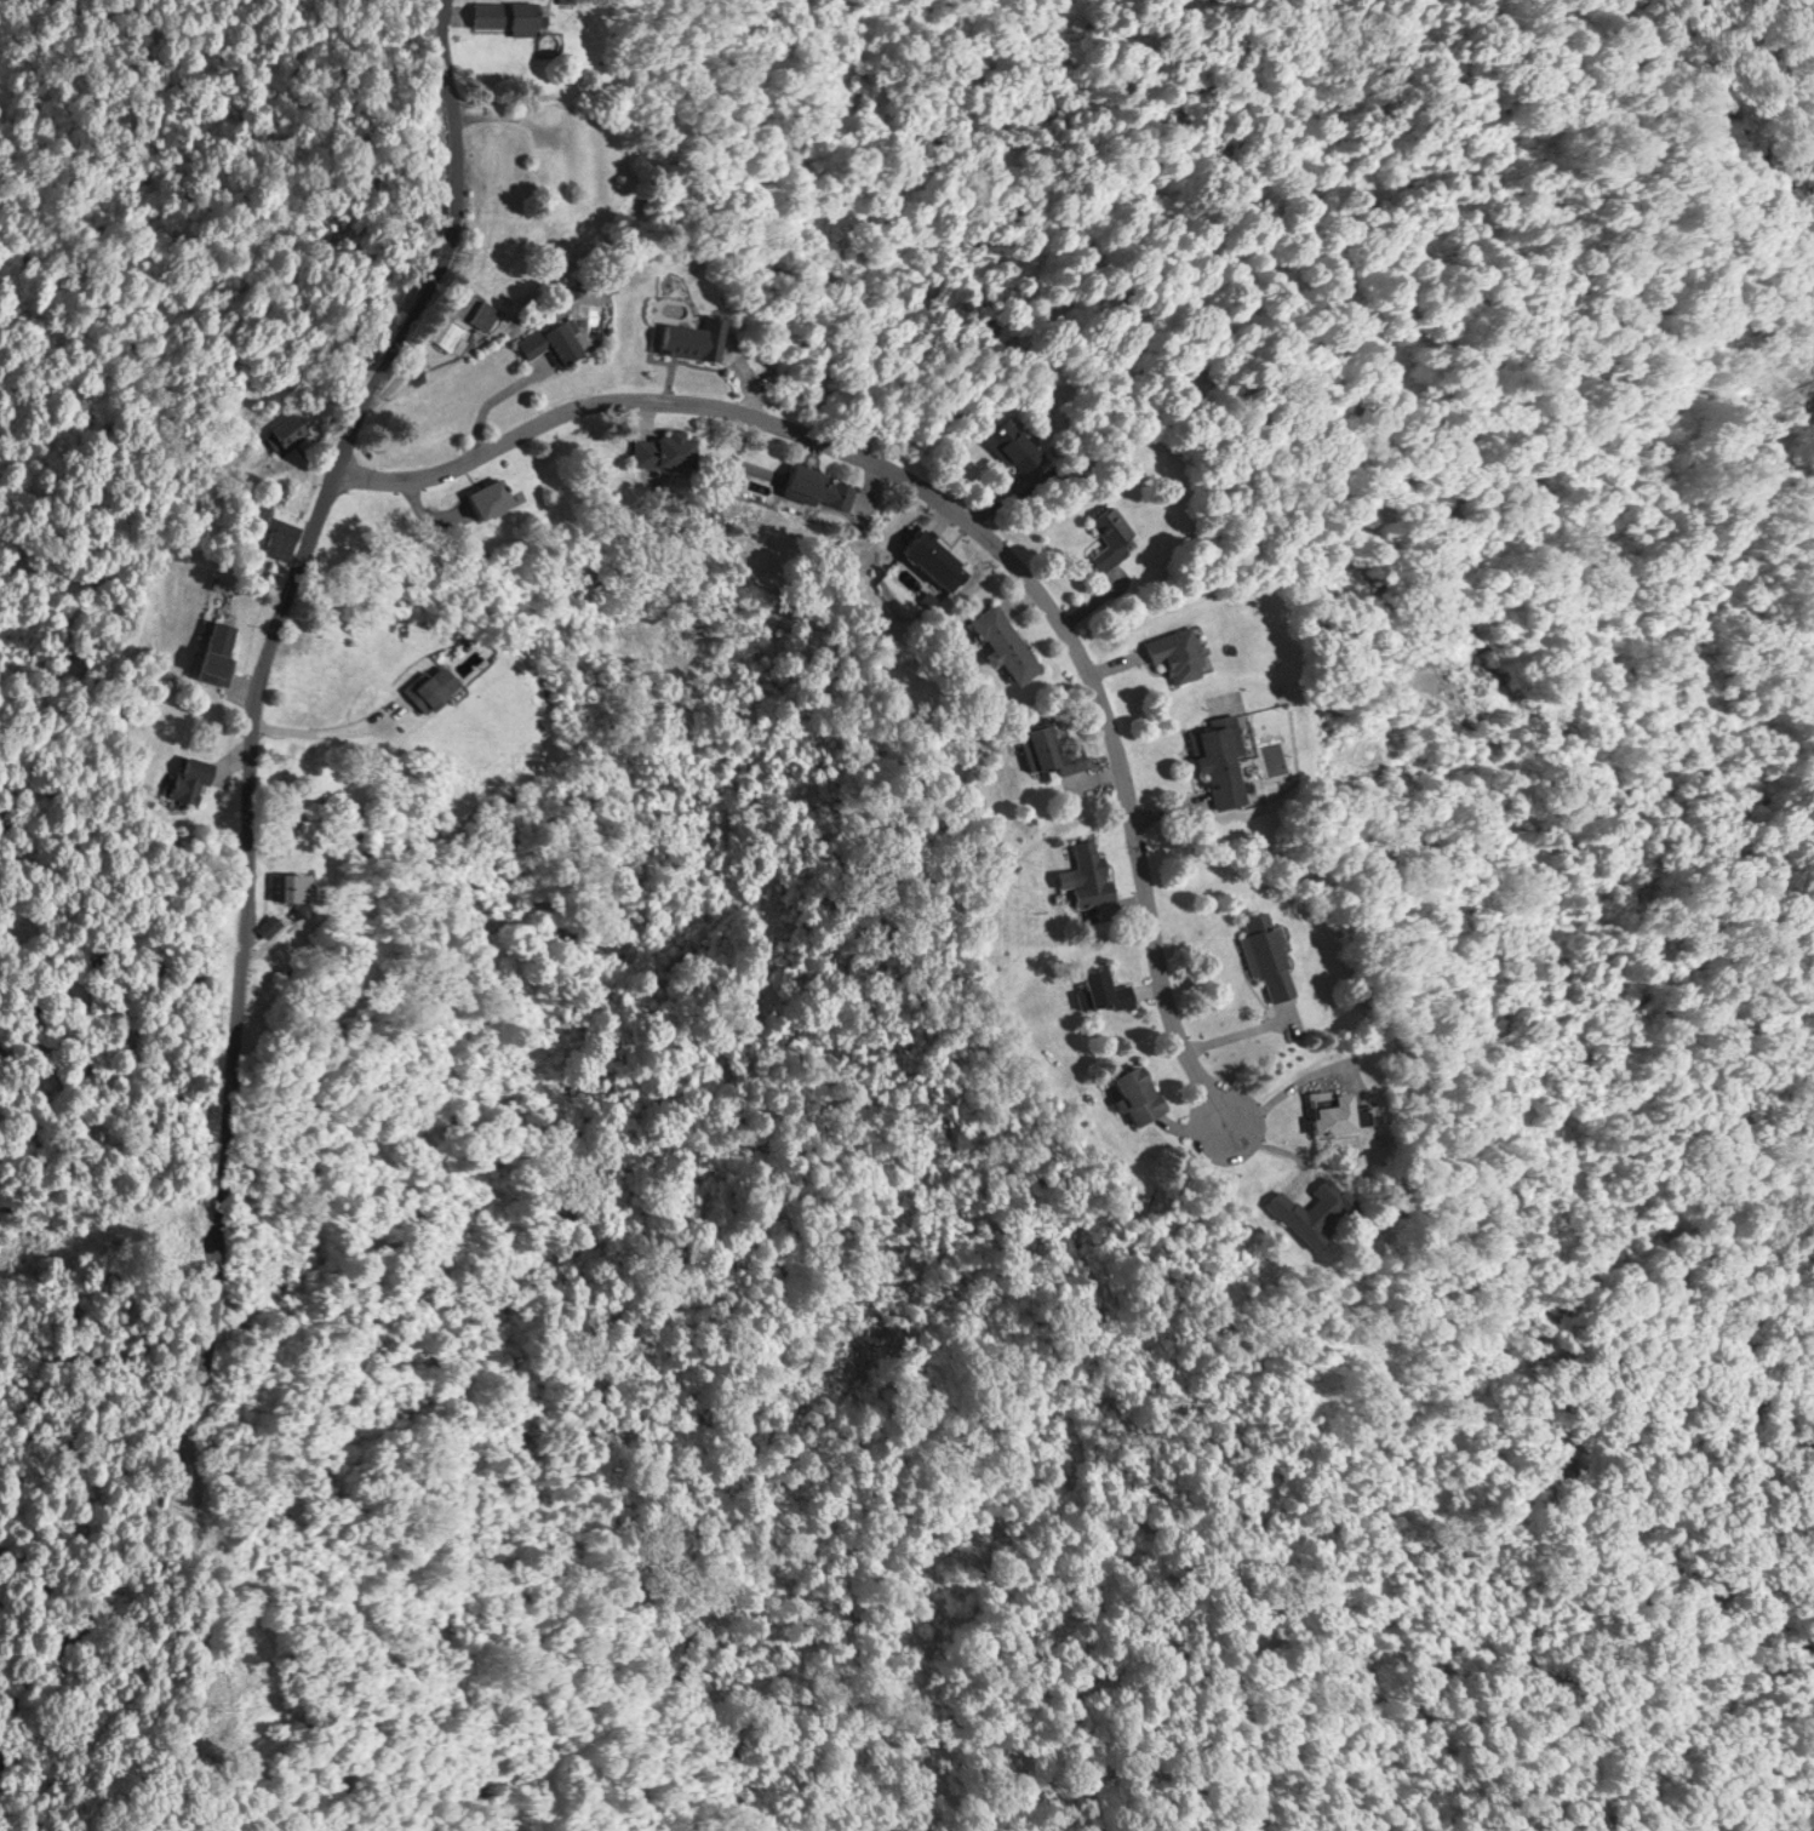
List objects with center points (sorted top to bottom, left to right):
building: (502, 16)
building: (547, 110)
building: (497, 158)
road: (459, 251)
building: (462, 327)
building: (685, 338)
building: (545, 339)
building: (1011, 445)
building: (656, 451)
building: (812, 488)
building: (476, 498)
road: (969, 516)
building: (290, 533)
building: (1108, 537)
building: (926, 556)
building: (1000, 642)
building: (225, 651)
building: (1169, 654)
building: (424, 687)
building: (1047, 751)
building: (1214, 759)
building: (205, 778)
building: (1083, 870)
building: (311, 886)
building: (284, 923)
building: (1260, 952)
building: (1100, 989)
building: (1132, 1093)
building: (1320, 1112)
road: (228, 1123)
building: (1300, 1209)

